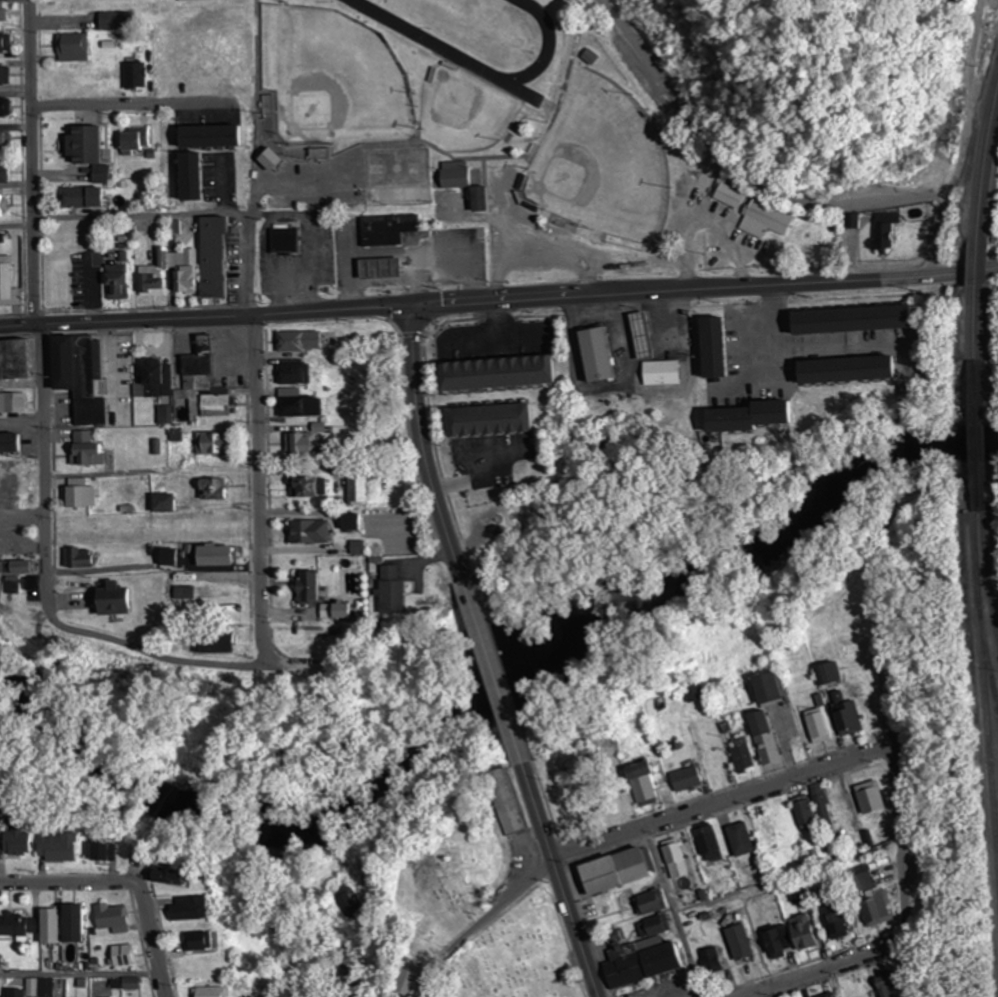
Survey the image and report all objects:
building: (202, 0)
building: (4, 13)
building: (119, 22)
building: (4, 44)
building: (74, 48)
track: (452, 53)
building: (4, 77)
building: (133, 77)
park: (338, 82)
building: (4, 108)
road: (111, 110)
park: (467, 113)
building: (220, 139)
road: (955, 141)
building: (6, 143)
building: (135, 146)
building: (88, 150)
railway: (983, 153)
road: (30, 163)
building: (276, 163)
park: (604, 163)
road: (742, 167)
building: (5, 174)
building: (458, 176)
railway: (992, 176)
building: (403, 177)
building: (198, 179)
building: (92, 192)
building: (729, 197)
building: (484, 201)
building: (4, 205)
building: (765, 221)
road: (15, 231)
building: (389, 231)
building: (886, 231)
road: (247, 261)
building: (210, 262)
building: (385, 268)
building: (156, 277)
building: (10, 282)
building: (119, 282)
road: (499, 299)
building: (859, 320)
building: (647, 335)
building: (303, 342)
road: (847, 346)
building: (723, 347)
building: (601, 356)
building: (17, 361)
building: (852, 371)
building: (665, 373)
building: (504, 374)
railway: (973, 374)
railway: (983, 374)
building: (297, 375)
building: (84, 377)
building: (156, 380)
building: (206, 385)
building: (14, 403)
building: (303, 407)
building: (755, 417)
building: (498, 421)
building: (14, 443)
building: (216, 444)
building: (307, 445)
road: (423, 445)
building: (89, 450)
building: (311, 488)
building: (214, 489)
building: (359, 490)
building: (83, 494)
road: (255, 496)
building: (354, 523)
road: (23, 529)
building: (311, 533)
building: (219, 555)
building: (75, 558)
railway: (990, 570)
building: (311, 587)
building: (394, 590)
railway: (982, 598)
building: (119, 599)
road: (47, 611)
building: (340, 611)
building: (215, 642)
road: (492, 672)
building: (830, 675)
river: (486, 689)
building: (773, 689)
building: (693, 692)
road: (894, 701)
building: (848, 716)
building: (821, 726)
building: (765, 738)
building: (745, 754)
building: (584, 765)
building: (689, 780)
building: (646, 791)
building: (871, 798)
building: (511, 802)
road: (726, 805)
building: (845, 813)
building: (805, 815)
building: (767, 834)
building: (742, 840)
building: (21, 843)
building: (709, 845)
building: (61, 846)
building: (107, 851)
building: (678, 859)
building: (620, 873)
building: (174, 876)
park: (450, 876)
road: (561, 880)
road: (62, 883)
building: (349, 902)
building: (654, 904)
building: (192, 910)
building: (871, 913)
road: (673, 914)
building: (114, 917)
building: (835, 922)
building: (79, 924)
building: (15, 926)
road: (484, 926)
building: (56, 927)
building: (656, 931)
road: (152, 932)
building: (808, 932)
building: (204, 942)
building: (742, 943)
building: (776, 943)
building: (126, 956)
park: (517, 956)
building: (715, 962)
building: (649, 965)
road: (829, 970)
building: (891, 983)
building: (134, 984)
building: (43, 988)
building: (215, 992)
building: (17, 993)
building: (833, 995)

